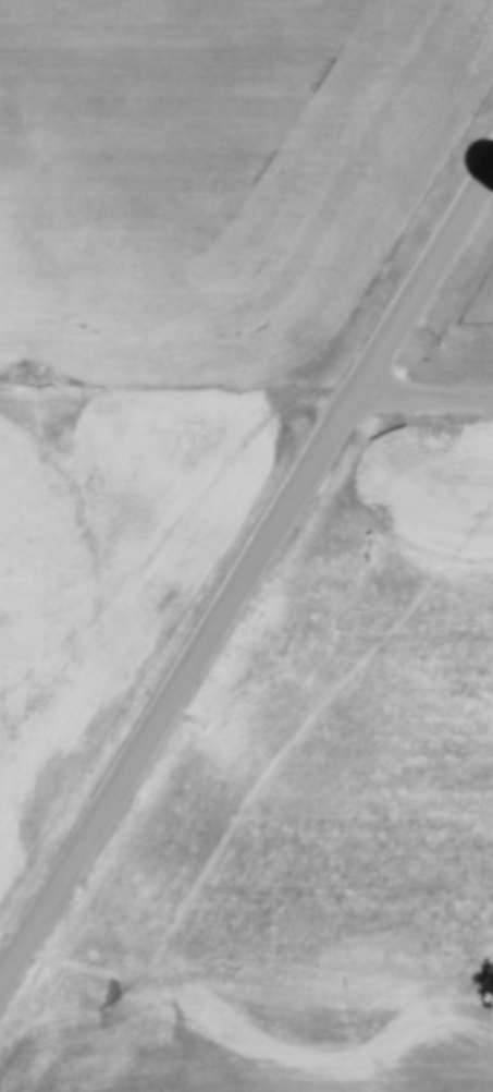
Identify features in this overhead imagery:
road: (423, 399)
road: (247, 573)

